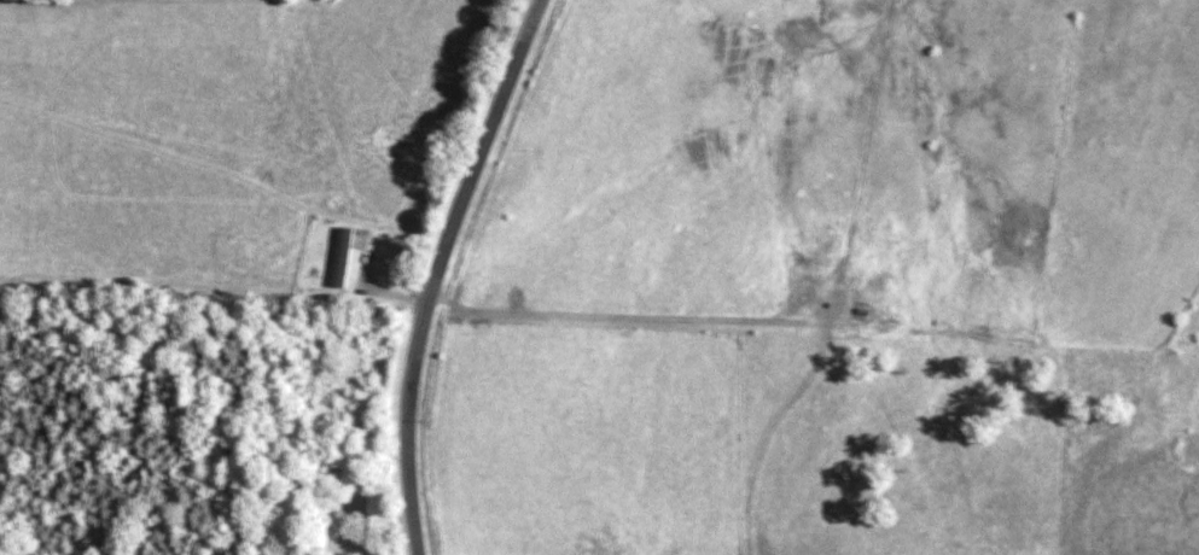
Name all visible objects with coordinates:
building: (339, 269)
road: (436, 270)
building: (676, 553)

